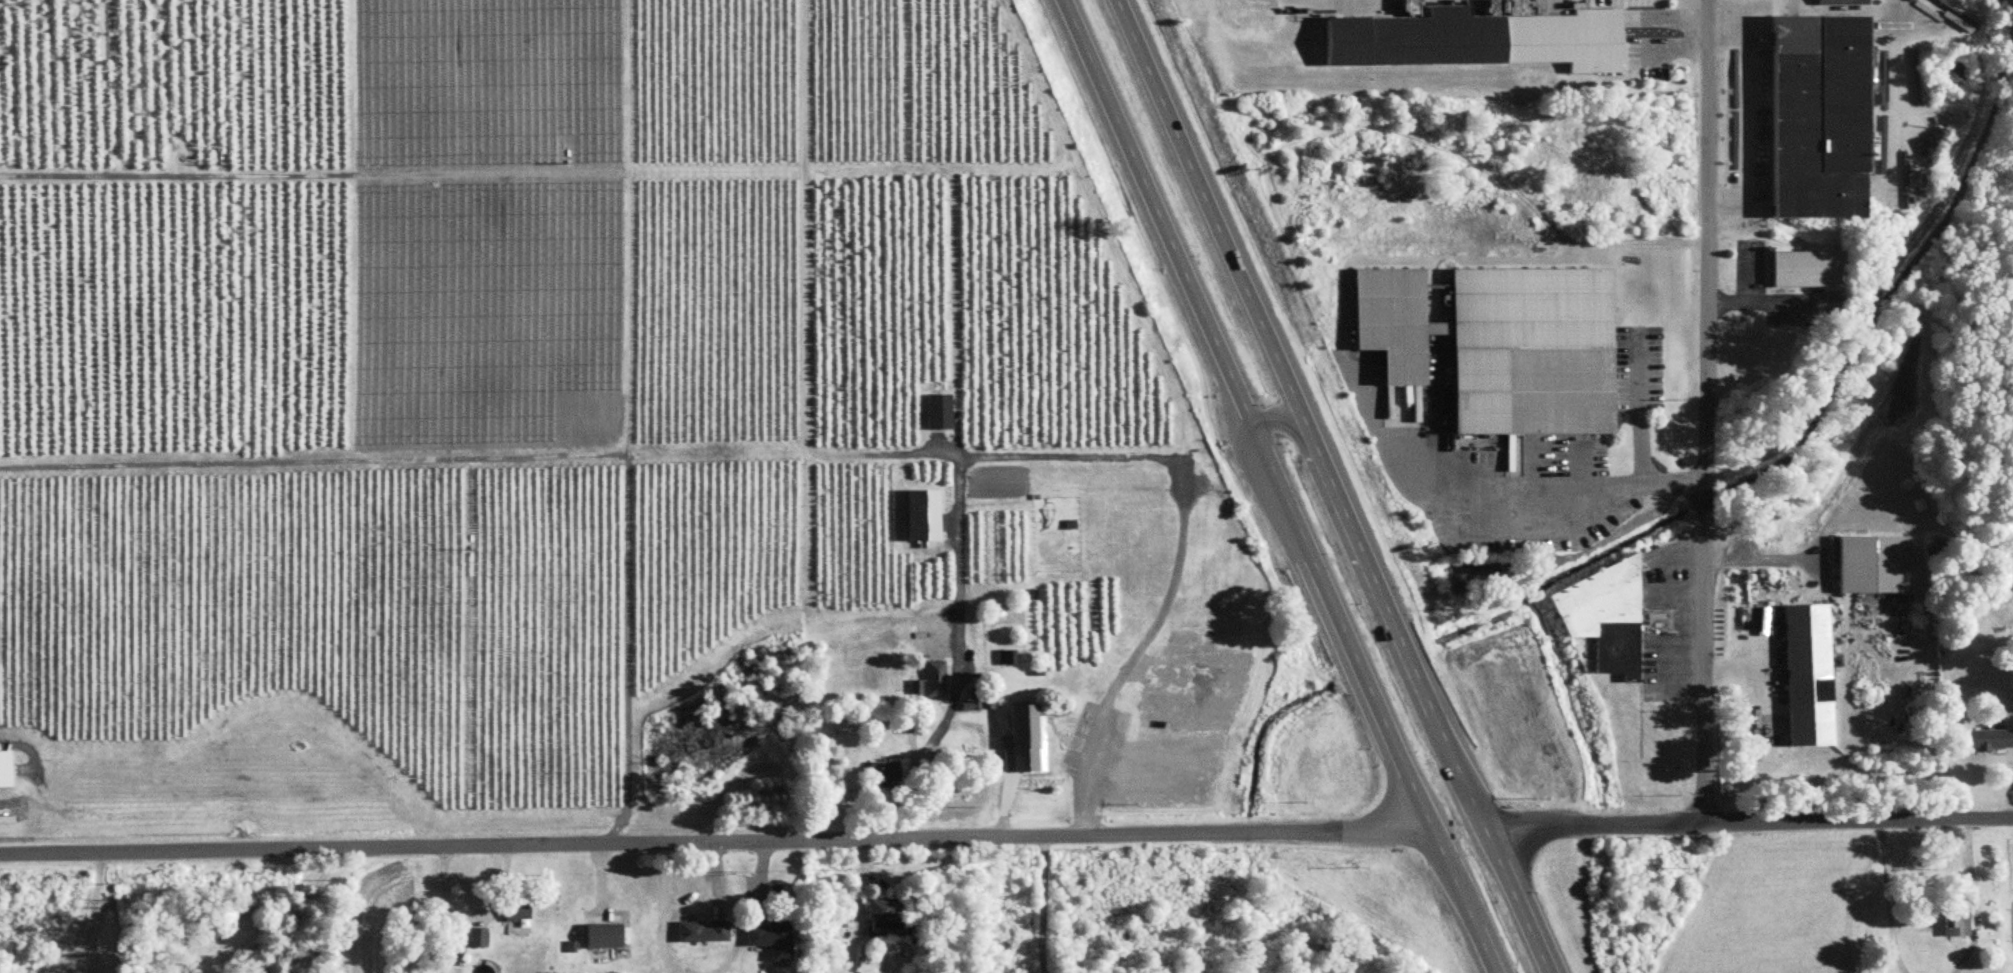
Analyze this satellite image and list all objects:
building: (1473, 39)
road: (1747, 105)
building: (1820, 109)
building: (1810, 265)
building: (1388, 322)
building: (1527, 350)
road: (1638, 407)
road: (1705, 411)
road: (1297, 427)
road: (1279, 486)
road: (1331, 486)
road: (1537, 488)
building: (1869, 559)
building: (1600, 596)
building: (1621, 645)
building: (1005, 658)
road: (1757, 671)
building: (1804, 672)
building: (933, 679)
building: (974, 703)
building: (1987, 729)
building: (1020, 735)
building: (3, 770)
road: (1747, 822)
road: (713, 843)
road: (1886, 897)
road: (1973, 899)
road: (851, 906)
building: (513, 909)
building: (880, 909)
road: (293, 911)
road: (90, 913)
road: (472, 917)
building: (1953, 922)
building: (699, 930)
building: (599, 934)
building: (474, 937)
building: (768, 937)
building: (863, 964)

